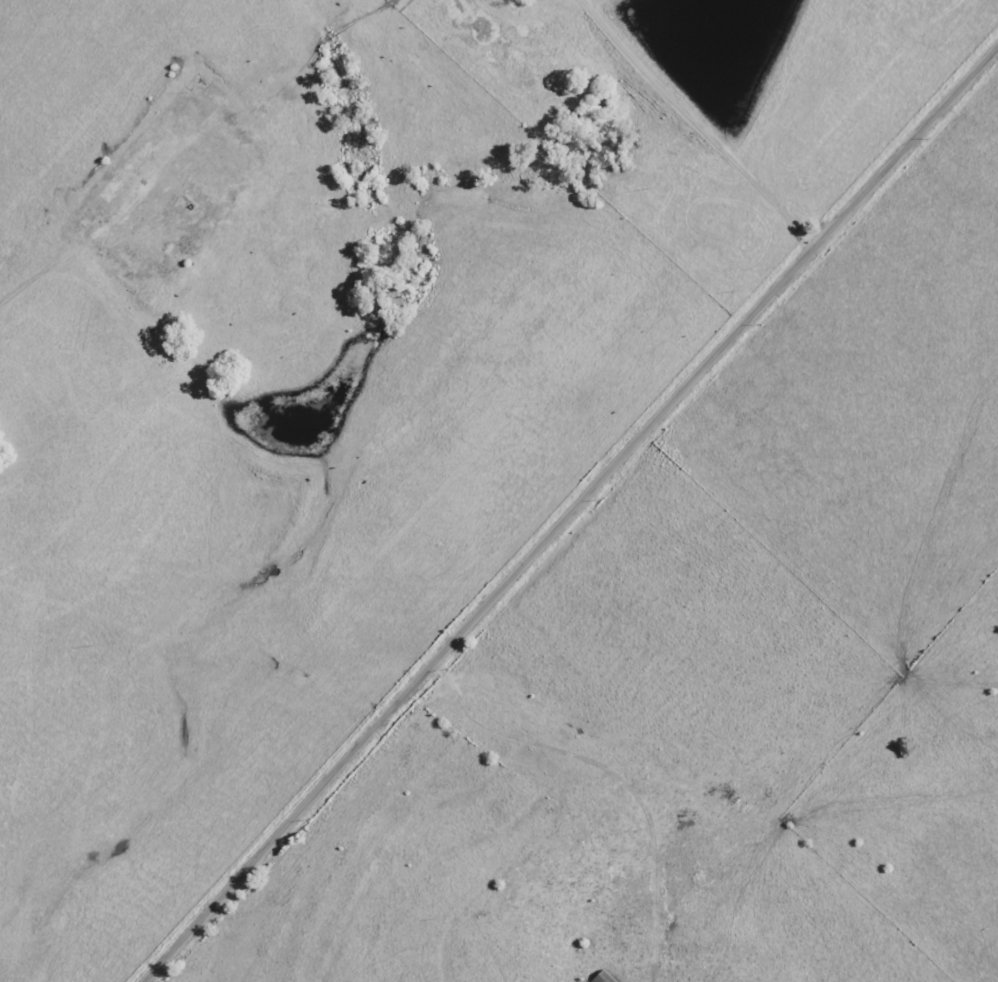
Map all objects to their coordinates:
road: (571, 514)

